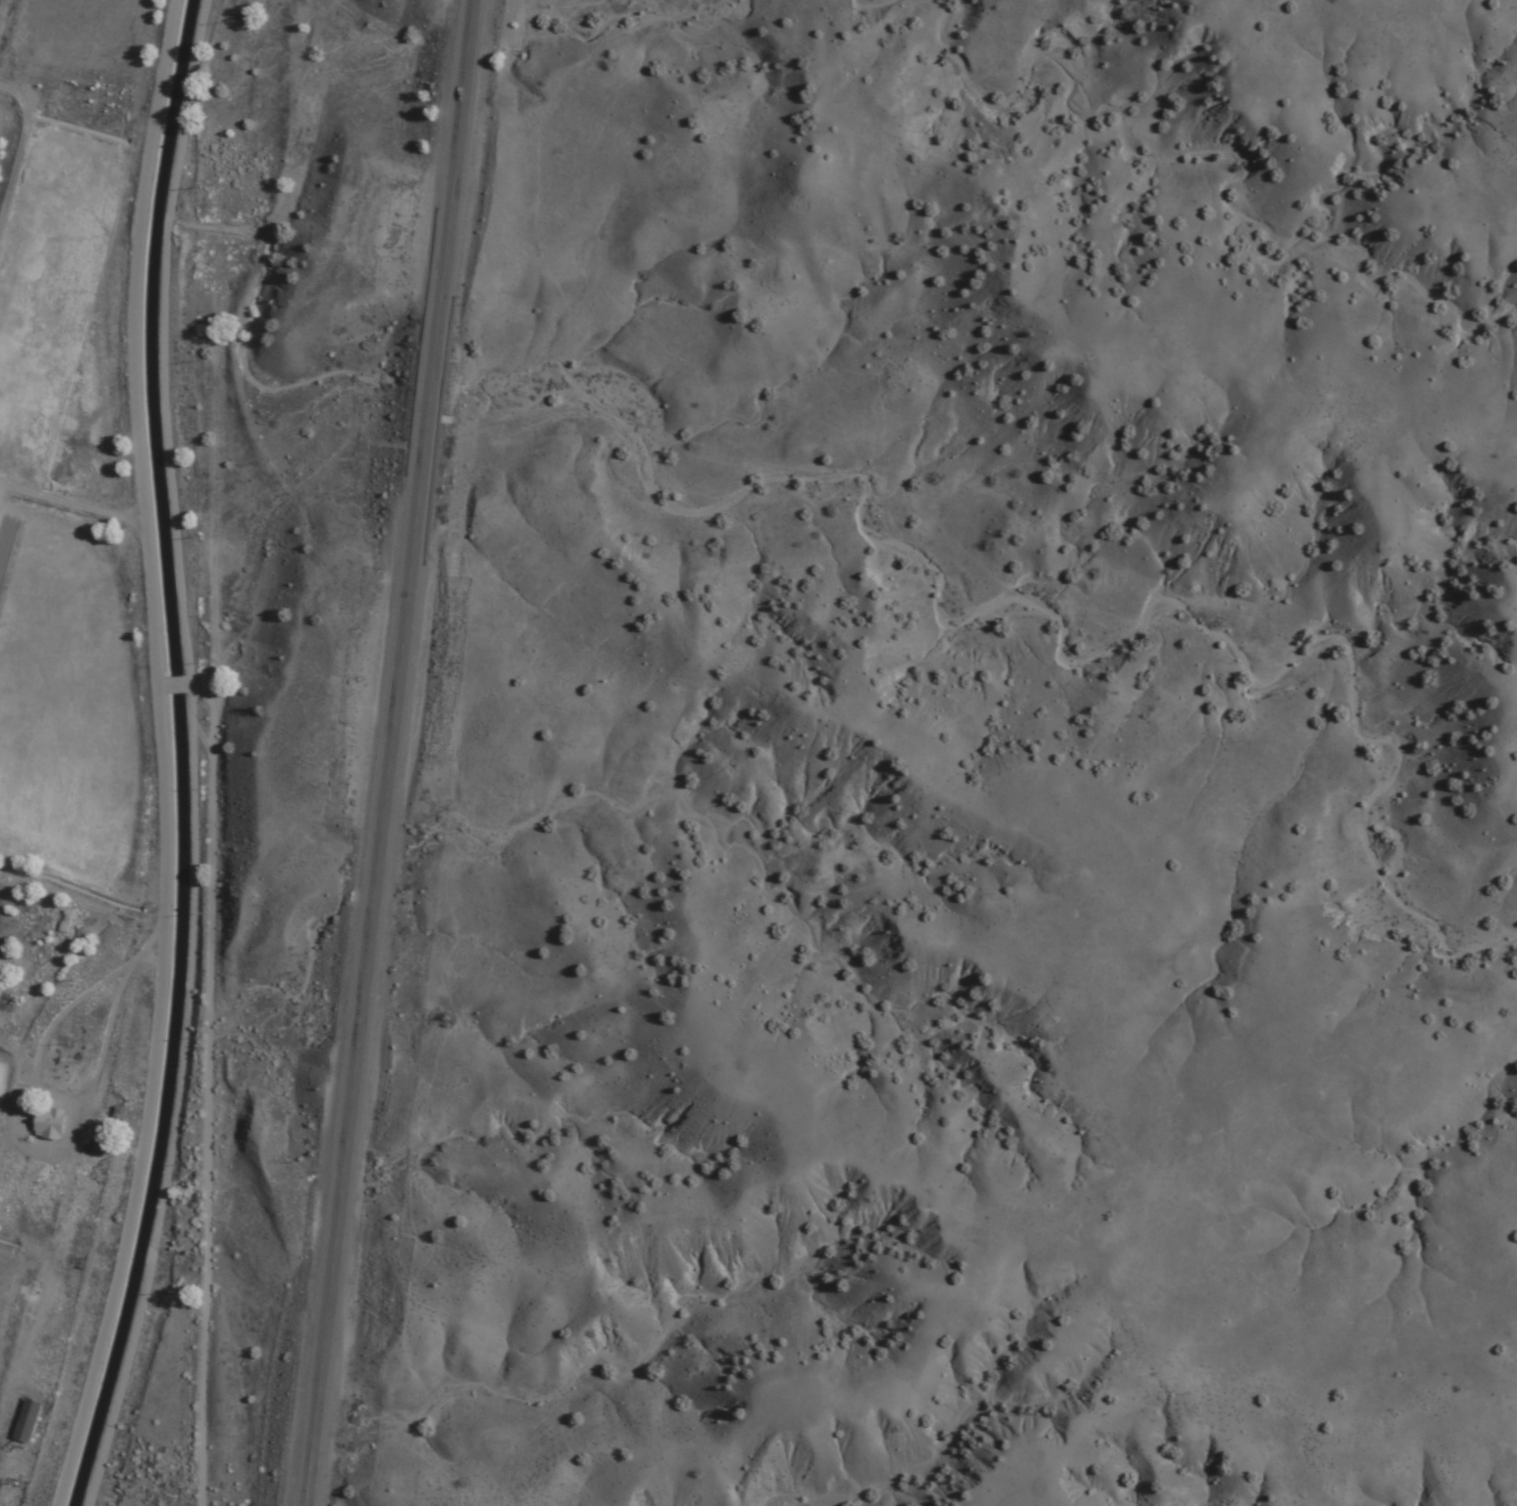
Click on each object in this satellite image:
road: (236, 752)
road: (387, 752)
building: (65, 922)
building: (48, 1124)
building: (104, 1141)
building: (26, 1421)

